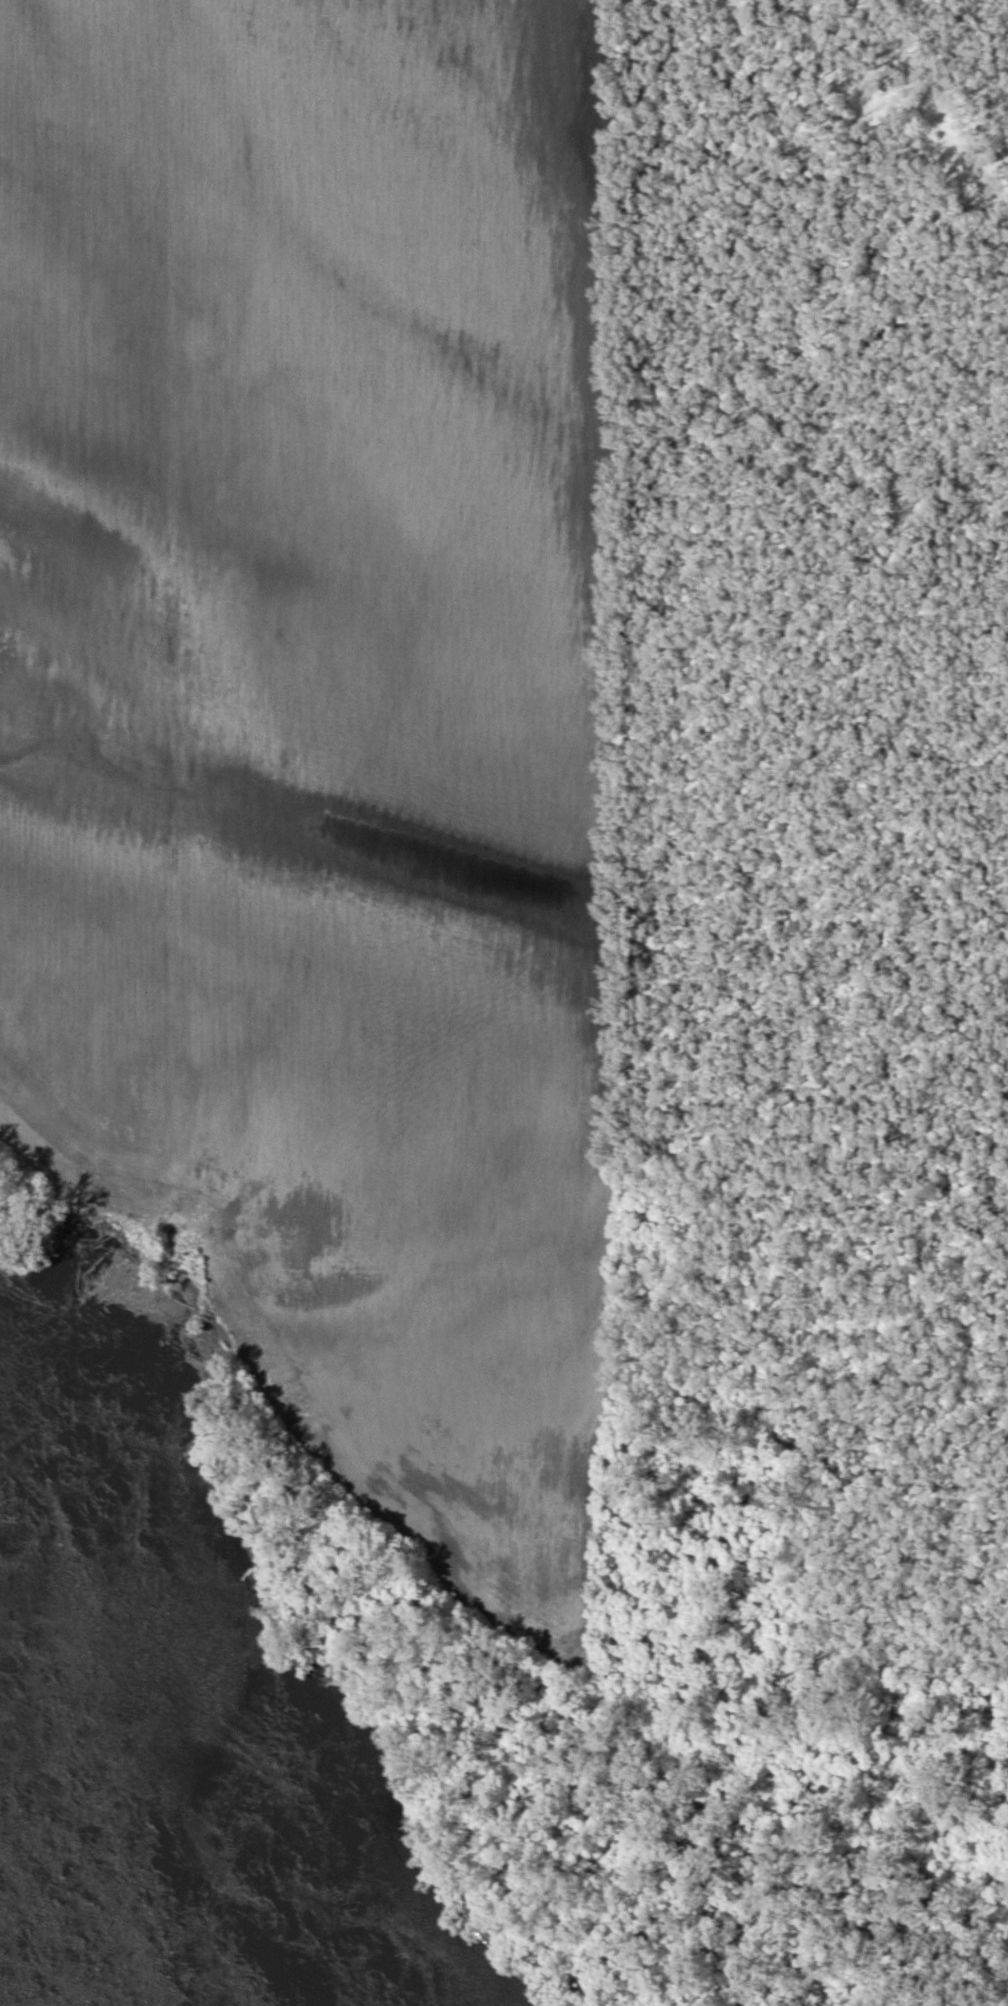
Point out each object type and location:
crop: (323, 714)
river: (57, 1931)

